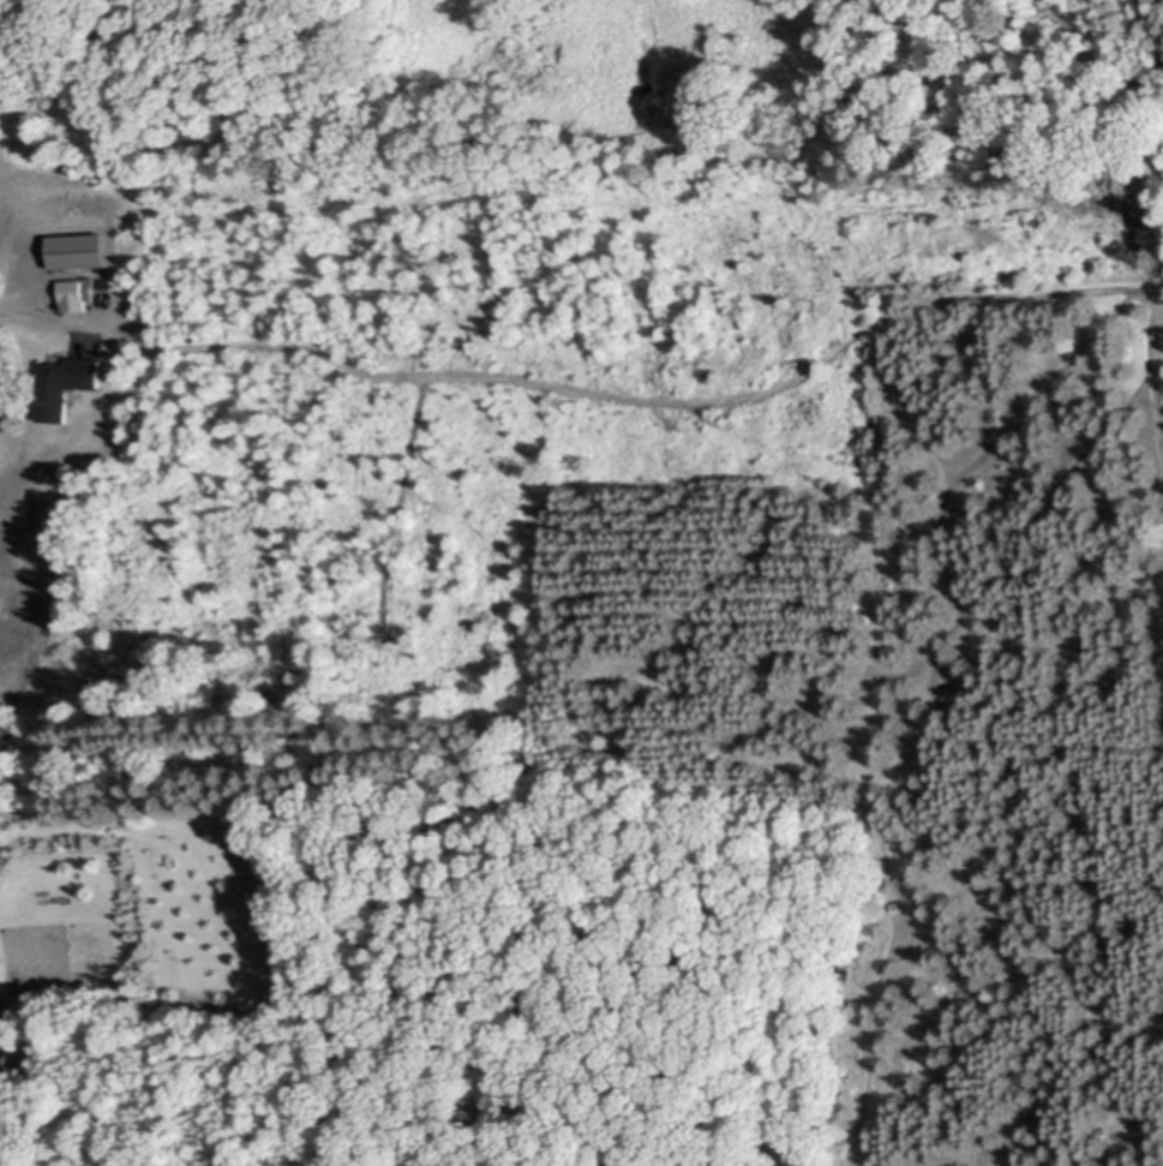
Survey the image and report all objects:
building: (113, 280)
building: (76, 294)
road: (12, 304)
building: (138, 324)
building: (64, 383)
building: (4, 1060)

